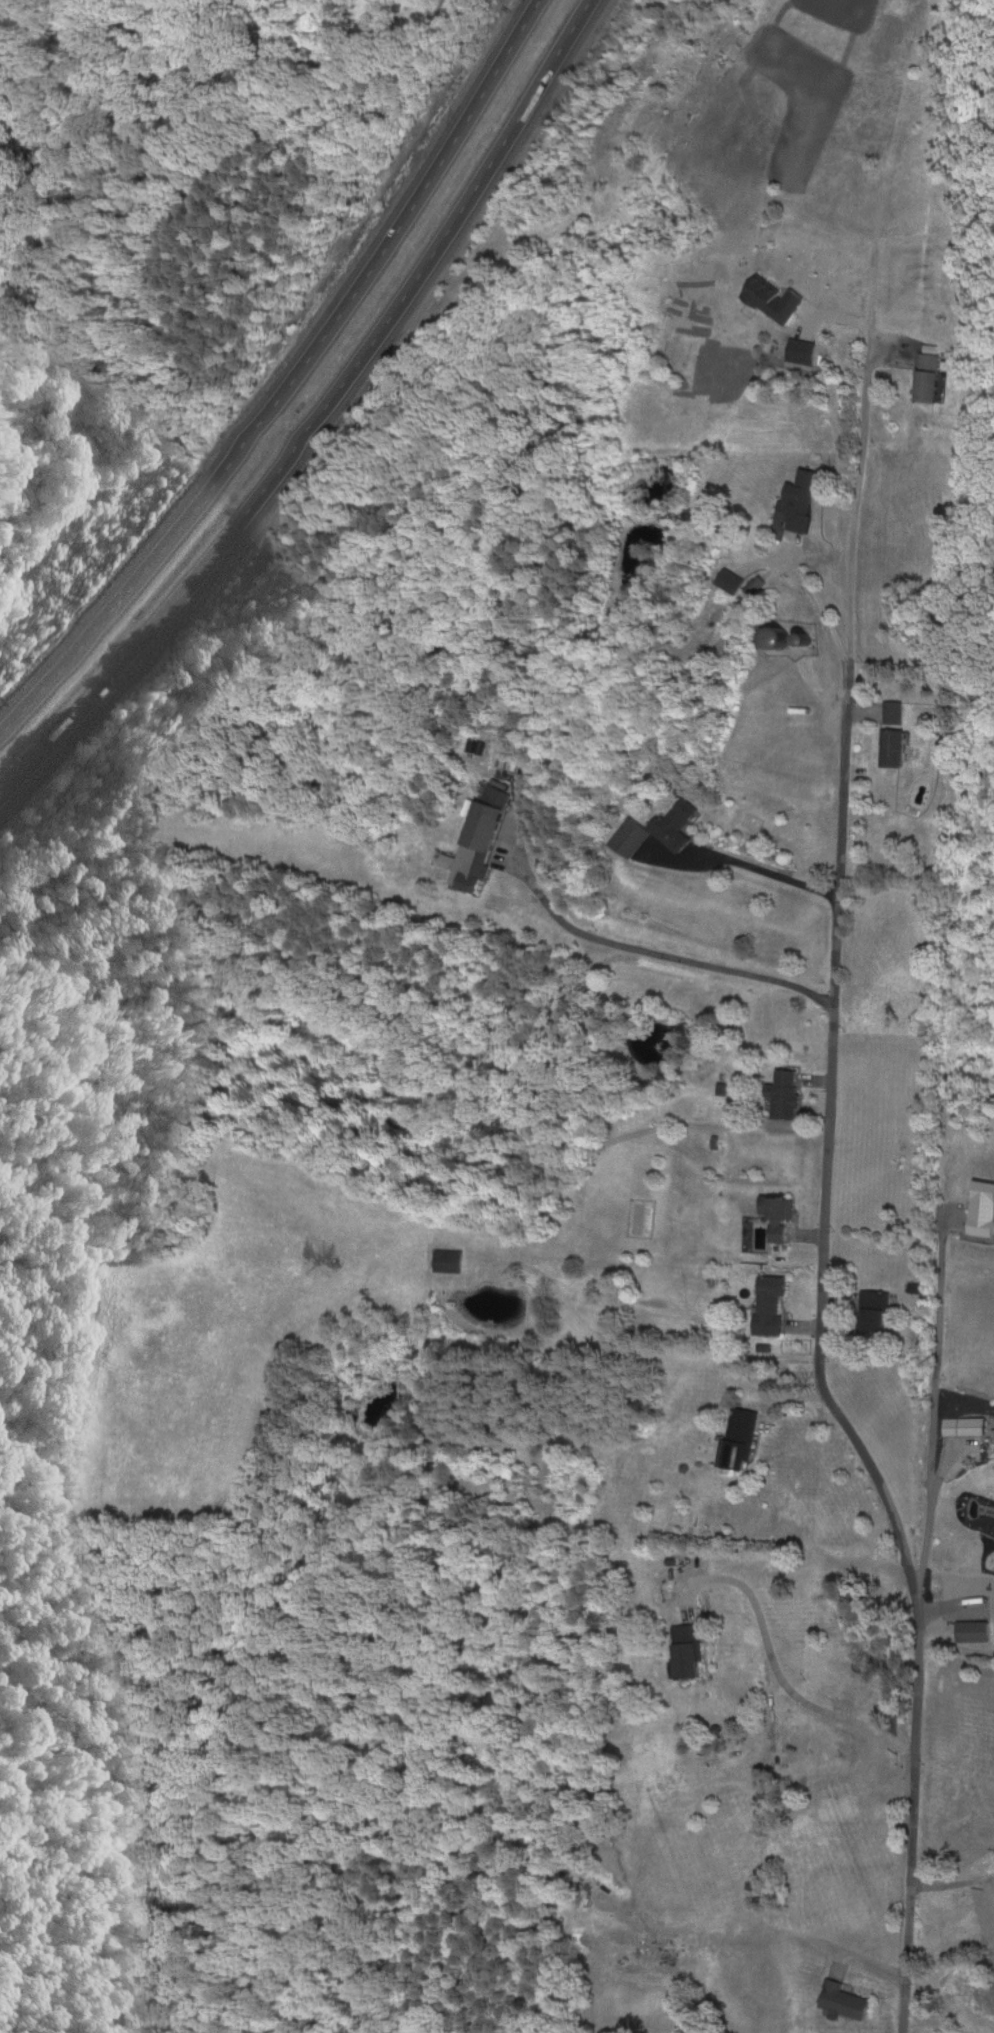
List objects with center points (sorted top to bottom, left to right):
building: (926, 376)
road: (278, 377)
road: (327, 426)
building: (800, 498)
building: (729, 579)
building: (776, 636)
building: (893, 712)
building: (892, 747)
building: (676, 825)
building: (630, 837)
road: (651, 952)
building: (784, 1094)
road: (825, 1199)
building: (778, 1217)
building: (980, 1222)
building: (447, 1259)
building: (768, 1303)
building: (872, 1308)
building: (961, 1424)
building: (737, 1436)
building: (992, 1441)
road: (927, 1509)
building: (972, 1629)
road: (953, 1642)
building: (685, 1649)
building: (991, 1876)
building: (992, 1918)
building: (842, 1999)

